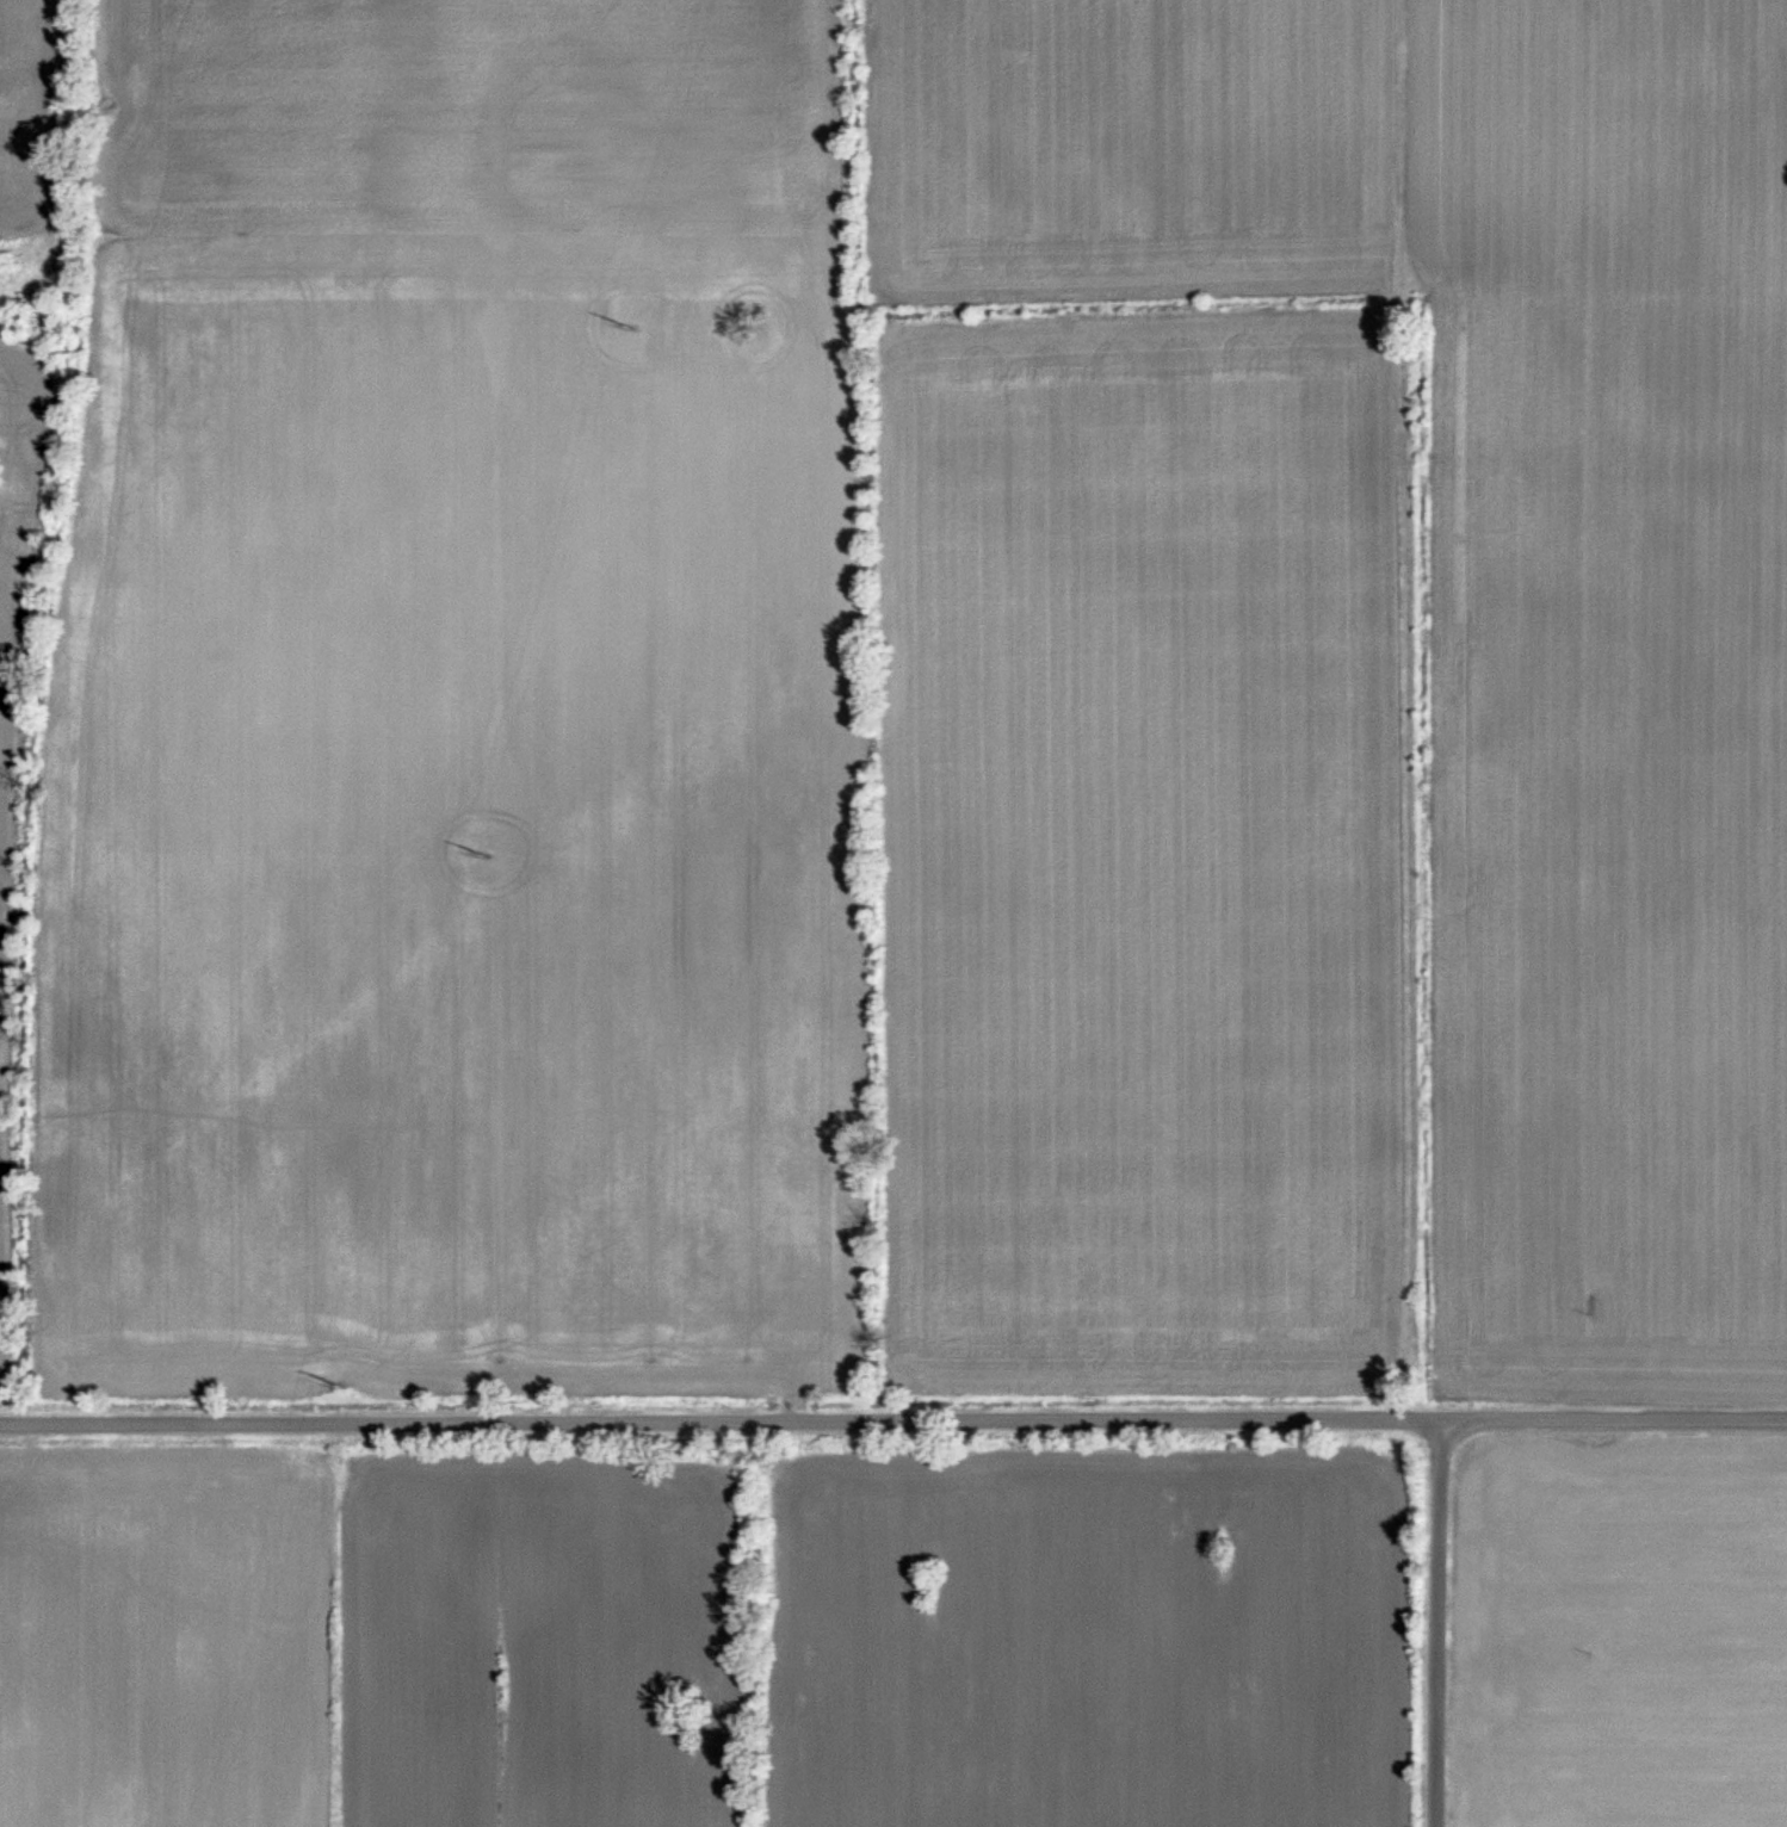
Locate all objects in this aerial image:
power tower: (623, 326)
power tower: (478, 861)
power tower: (336, 1382)
road: (892, 1430)
road: (1427, 1633)

